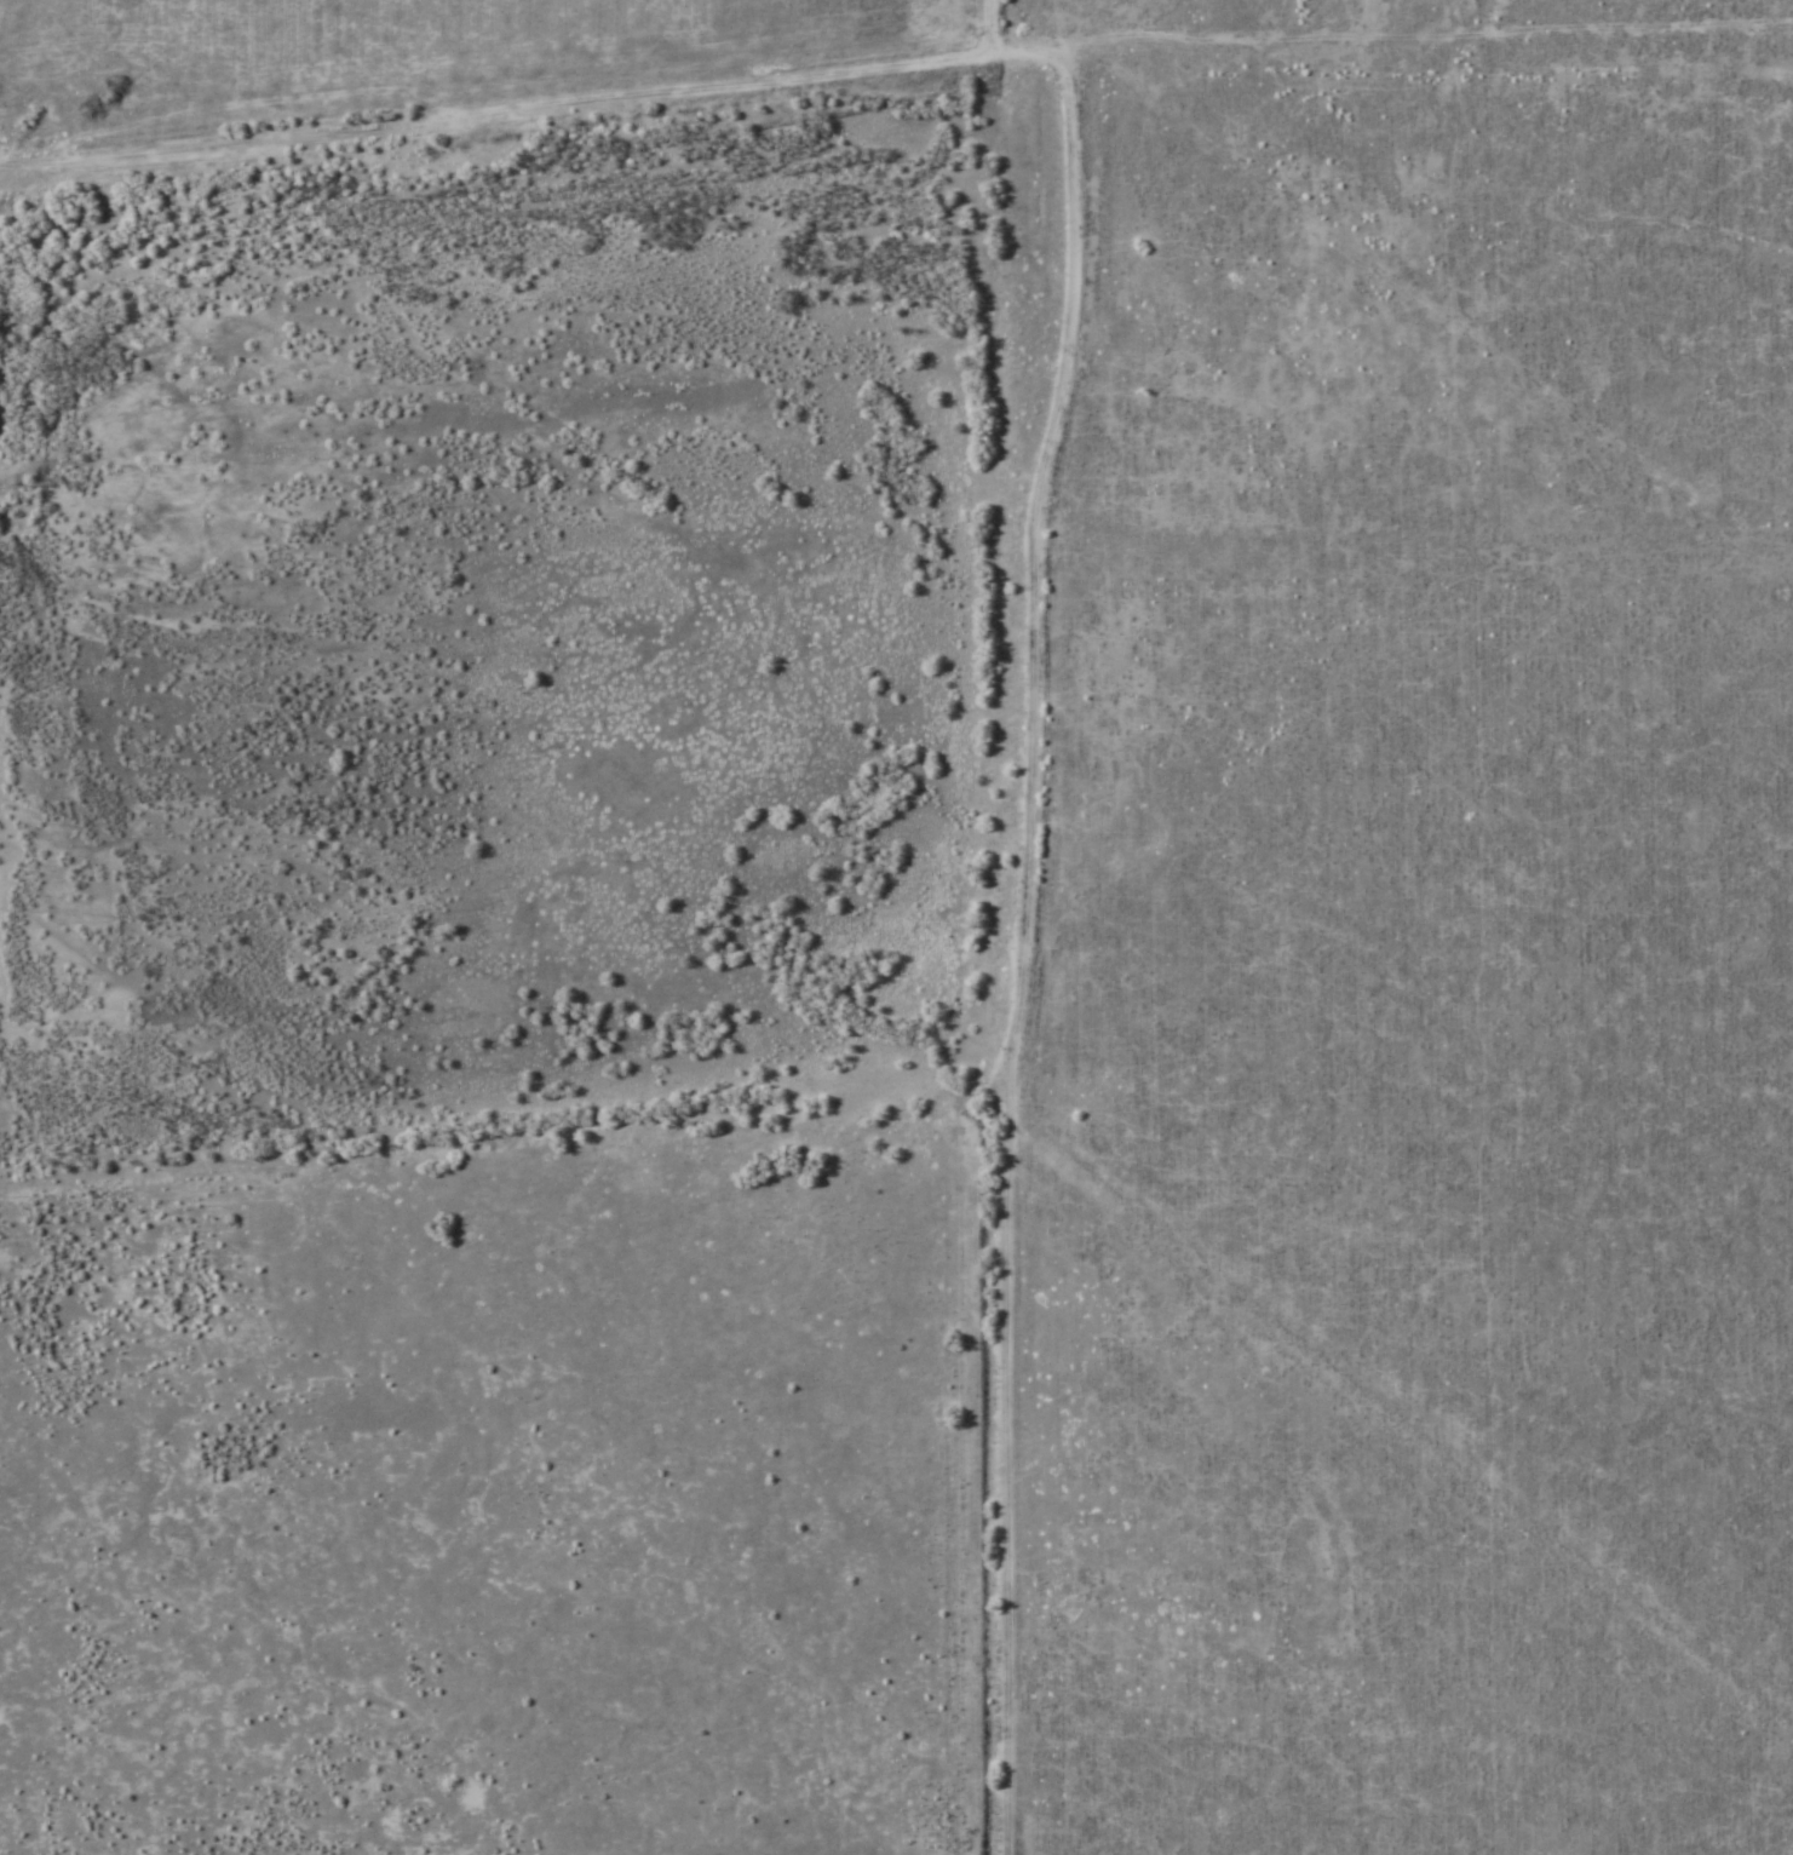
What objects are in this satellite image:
road: (960, 27)
road: (1027, 440)

